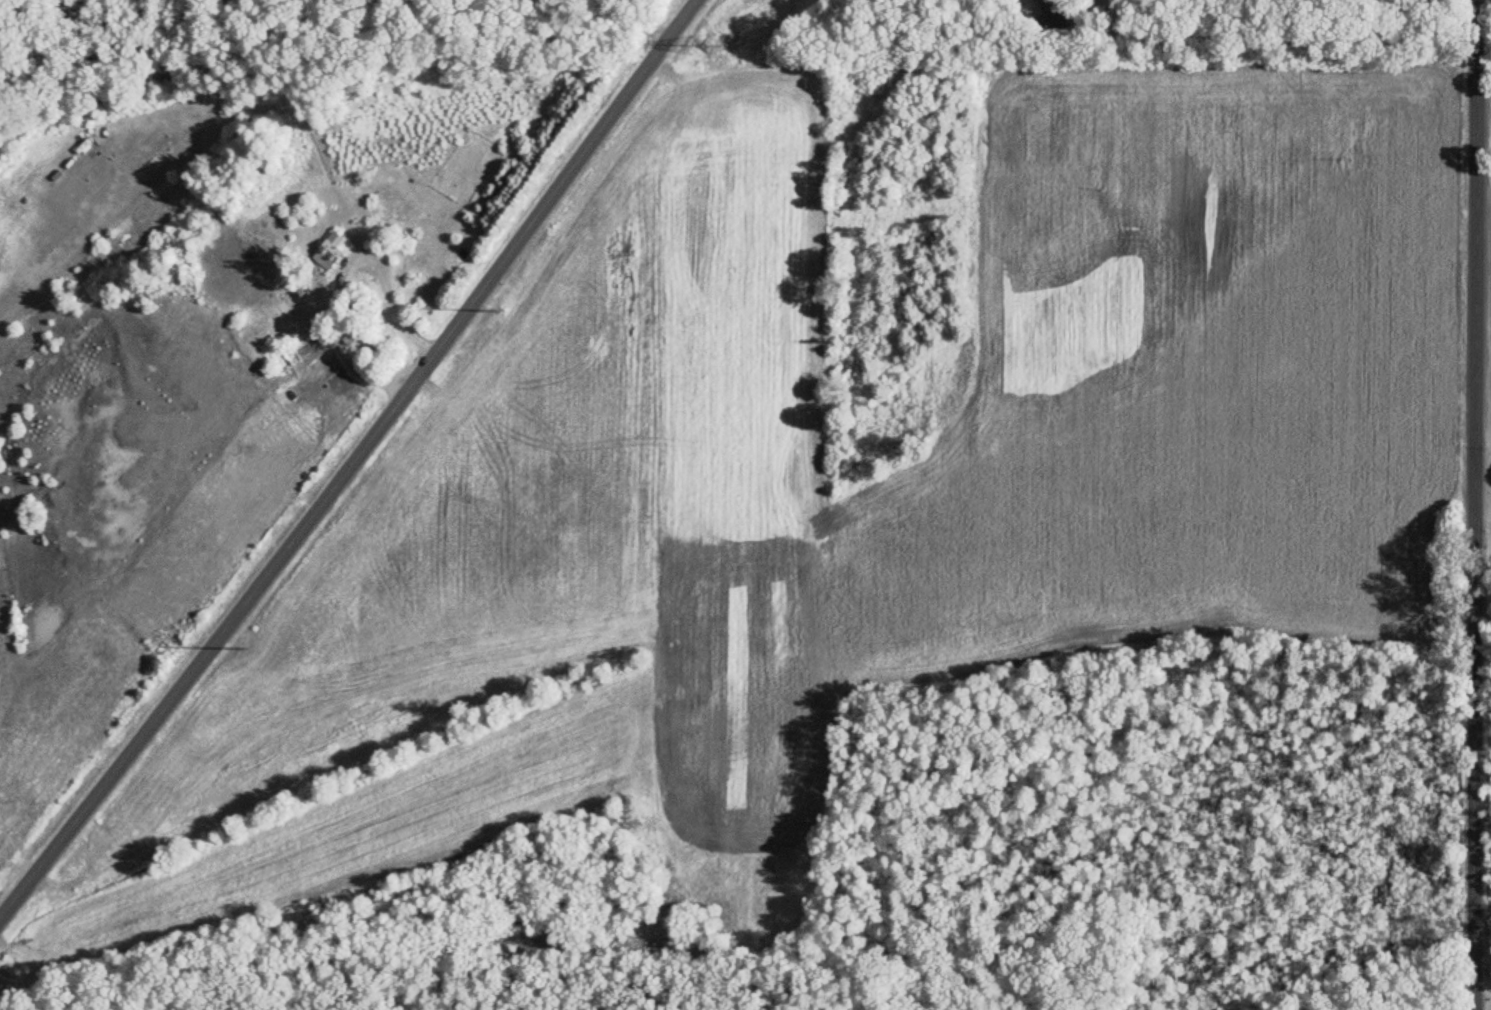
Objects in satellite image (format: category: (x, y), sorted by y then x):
road: (1078, 3)
power tower: (705, 46)
building: (325, 251)
road: (389, 289)
power tower: (504, 310)
road: (1481, 444)
road: (350, 458)
road: (1472, 504)
power tower: (249, 648)
road: (1481, 960)
road: (1481, 990)

